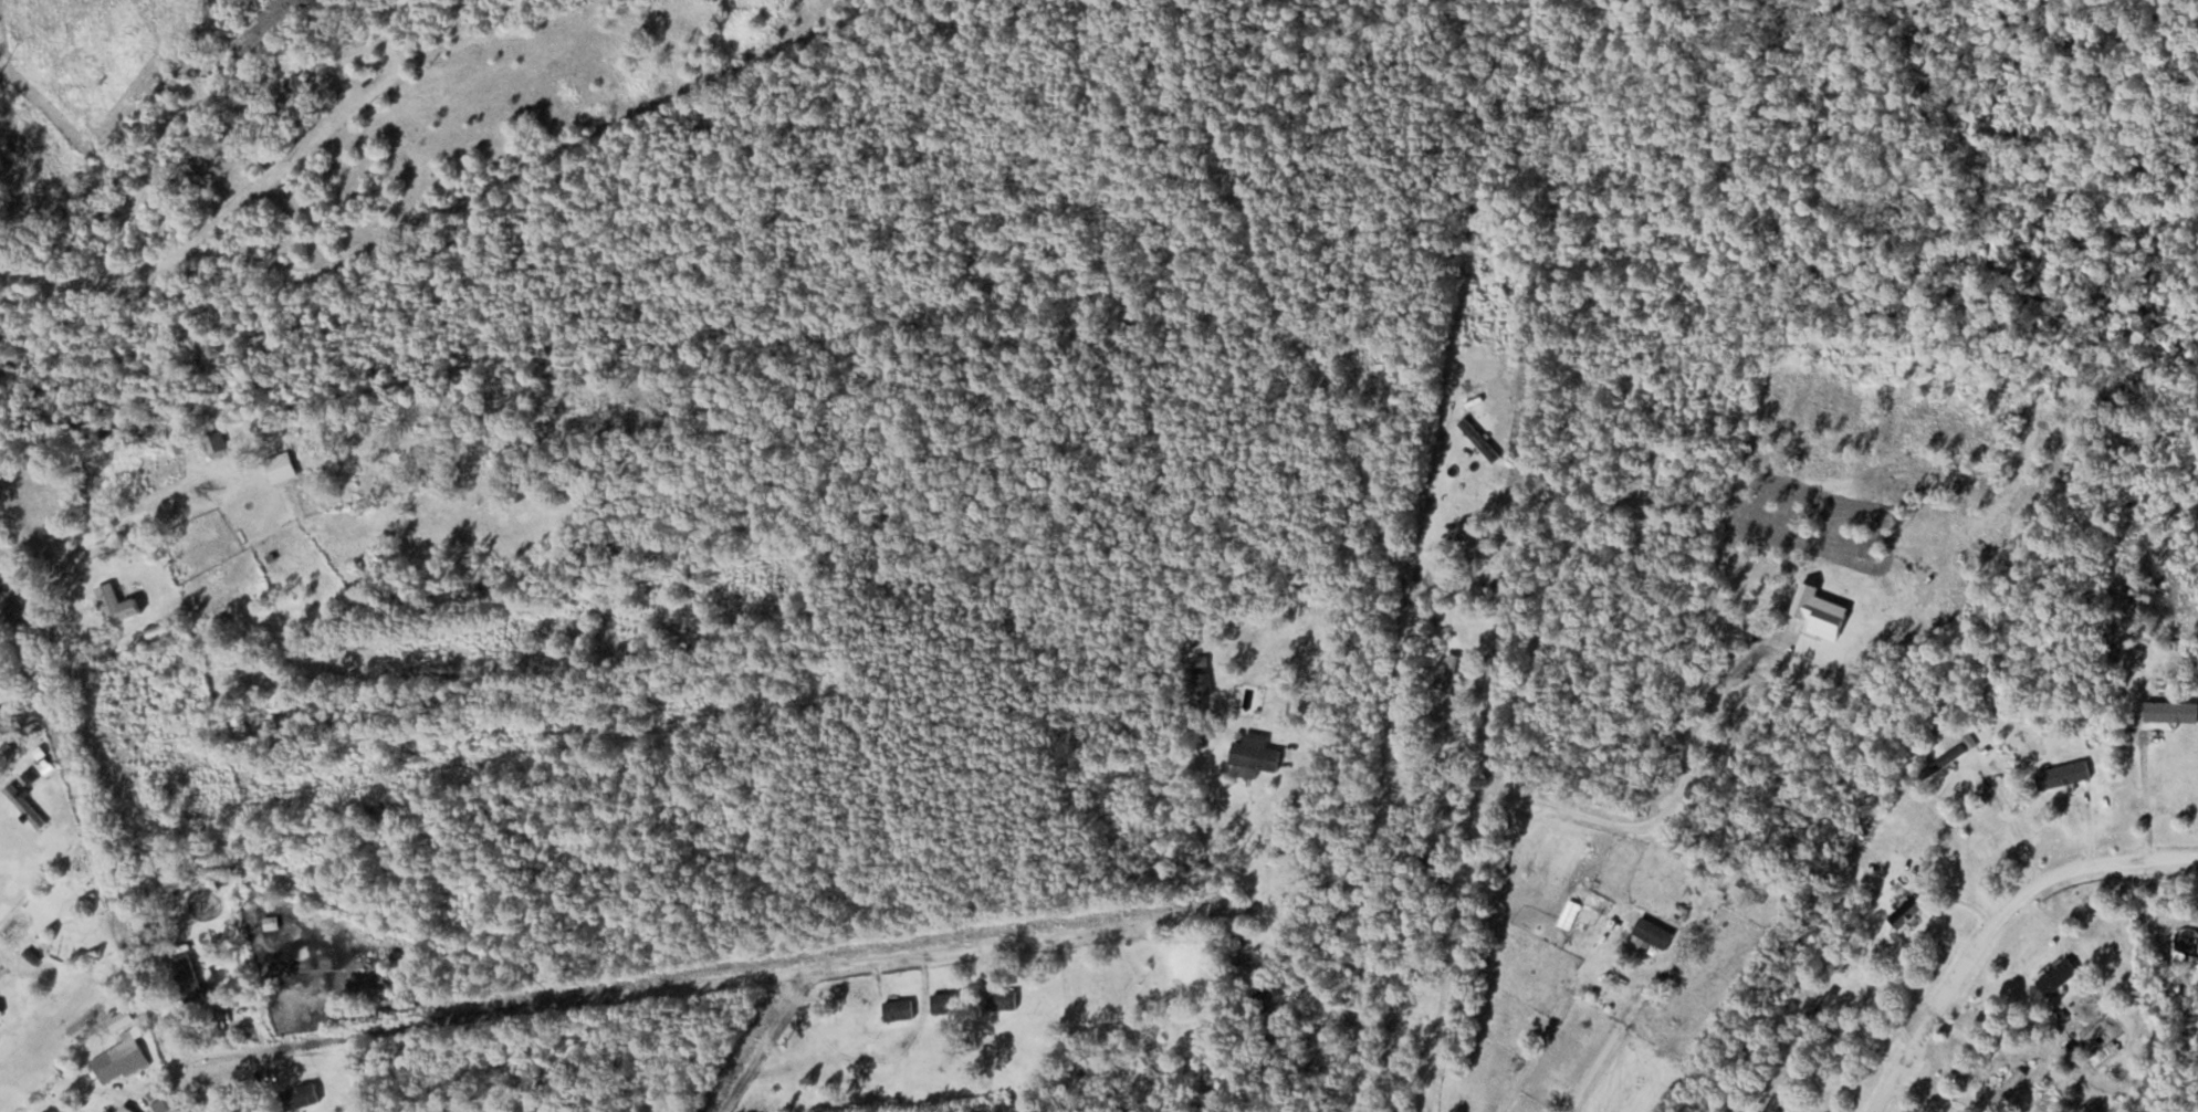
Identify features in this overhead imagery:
building: (263, 24)
building: (300, 83)
building: (1500, 300)
road: (1284, 305)
building: (216, 443)
building: (281, 468)
road: (232, 476)
road: (1610, 494)
road: (74, 535)
building: (1470, 537)
building: (116, 602)
building: (1449, 674)
building: (2171, 711)
building: (1256, 753)
building: (1948, 758)
road: (18, 763)
building: (2063, 774)
road: (2142, 796)
road: (1675, 797)
building: (24, 805)
road: (4, 836)
road: (91, 840)
road: (1374, 864)
building: (155, 870)
building: (1907, 911)
road: (1993, 923)
building: (1654, 932)
road: (1456, 948)
building: (2058, 975)
building: (187, 977)
road: (721, 980)
building: (1002, 998)
building: (946, 1001)
building: (1269, 1004)
building: (0, 1006)
building: (899, 1008)
road: (767, 1040)
building: (703, 1051)
building: (119, 1057)
building: (1154, 1059)
building: (1093, 1063)
building: (2020, 1084)
building: (301, 1095)
building: (126, 1109)
building: (107, 1110)

